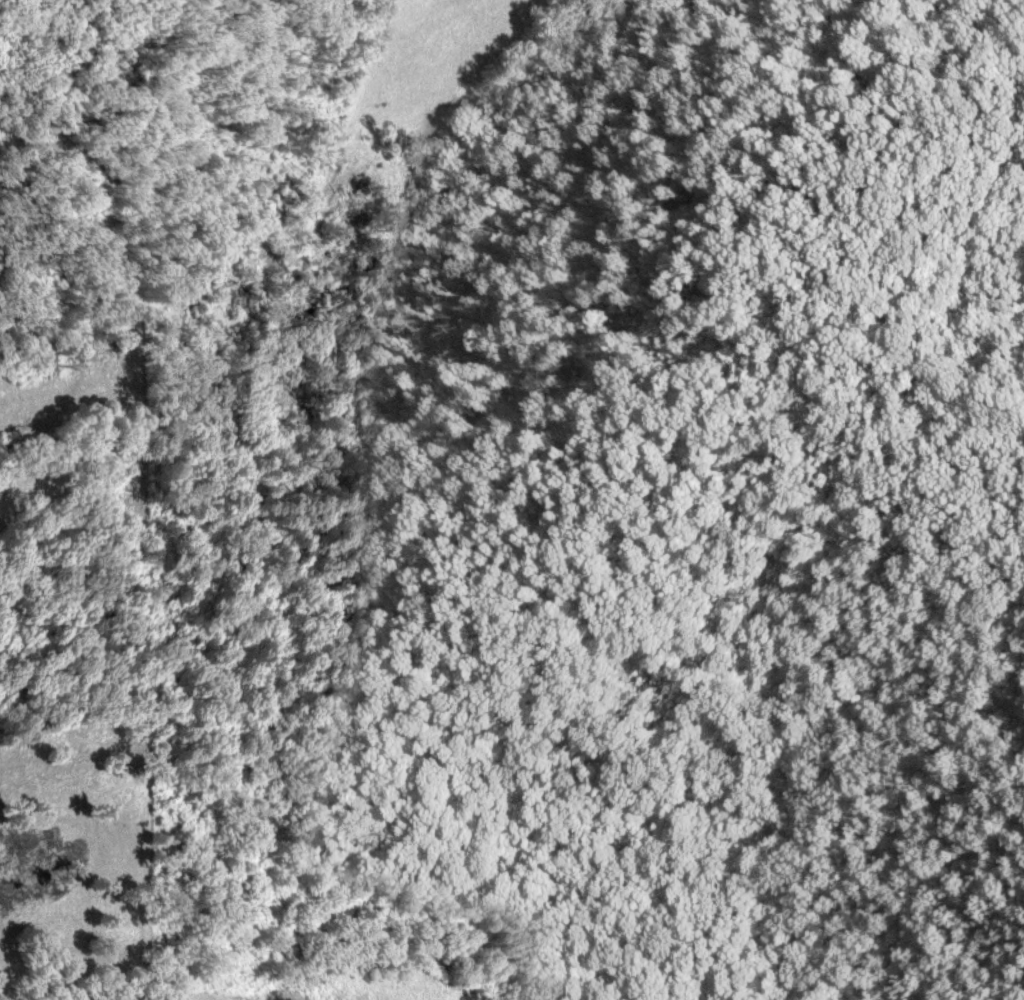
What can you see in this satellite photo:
road: (540, 504)
road: (76, 946)

